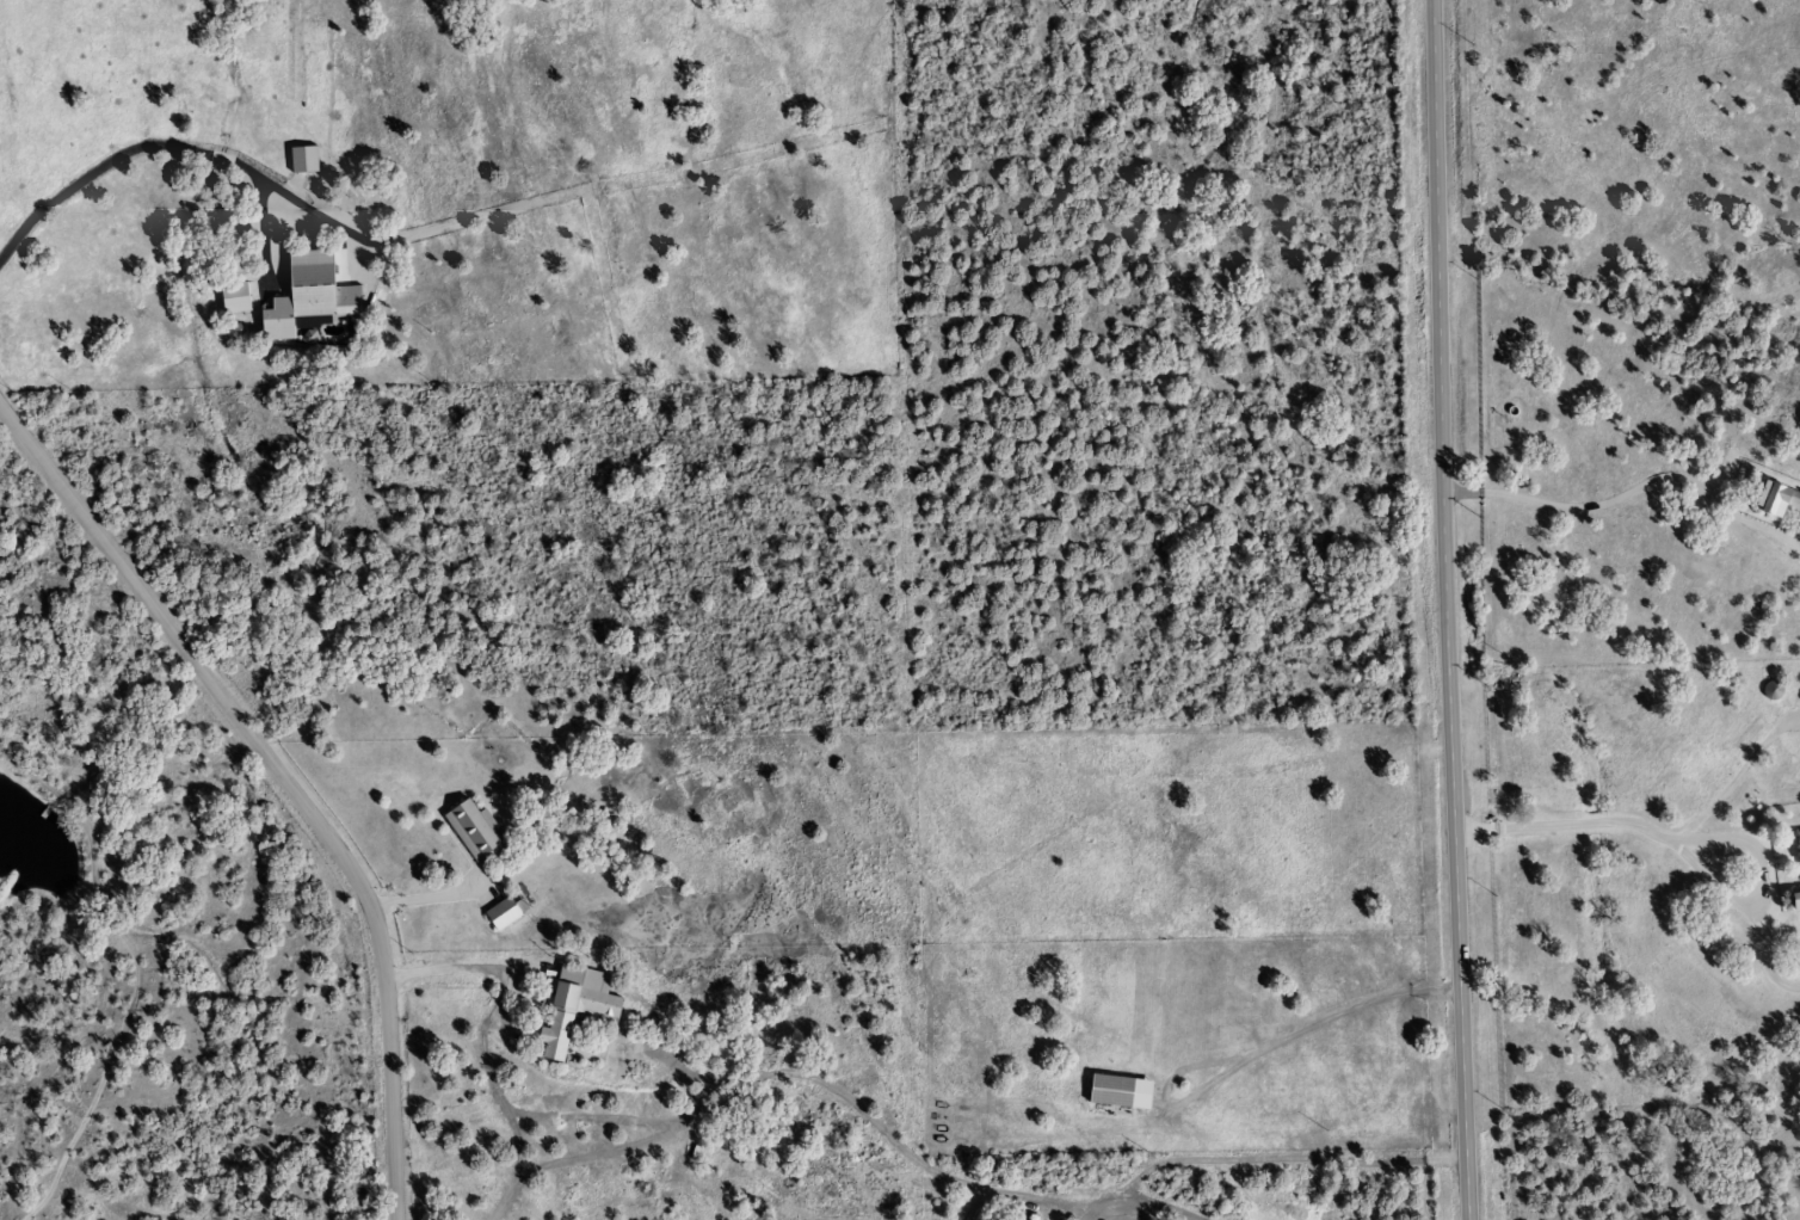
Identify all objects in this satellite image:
road: (134, 148)
building: (302, 166)
building: (306, 295)
building: (230, 297)
building: (1773, 500)
road: (1444, 610)
road: (284, 780)
building: (473, 831)
road: (1684, 852)
building: (1796, 859)
building: (500, 913)
road: (499, 980)
building: (572, 1008)
building: (1105, 1091)

